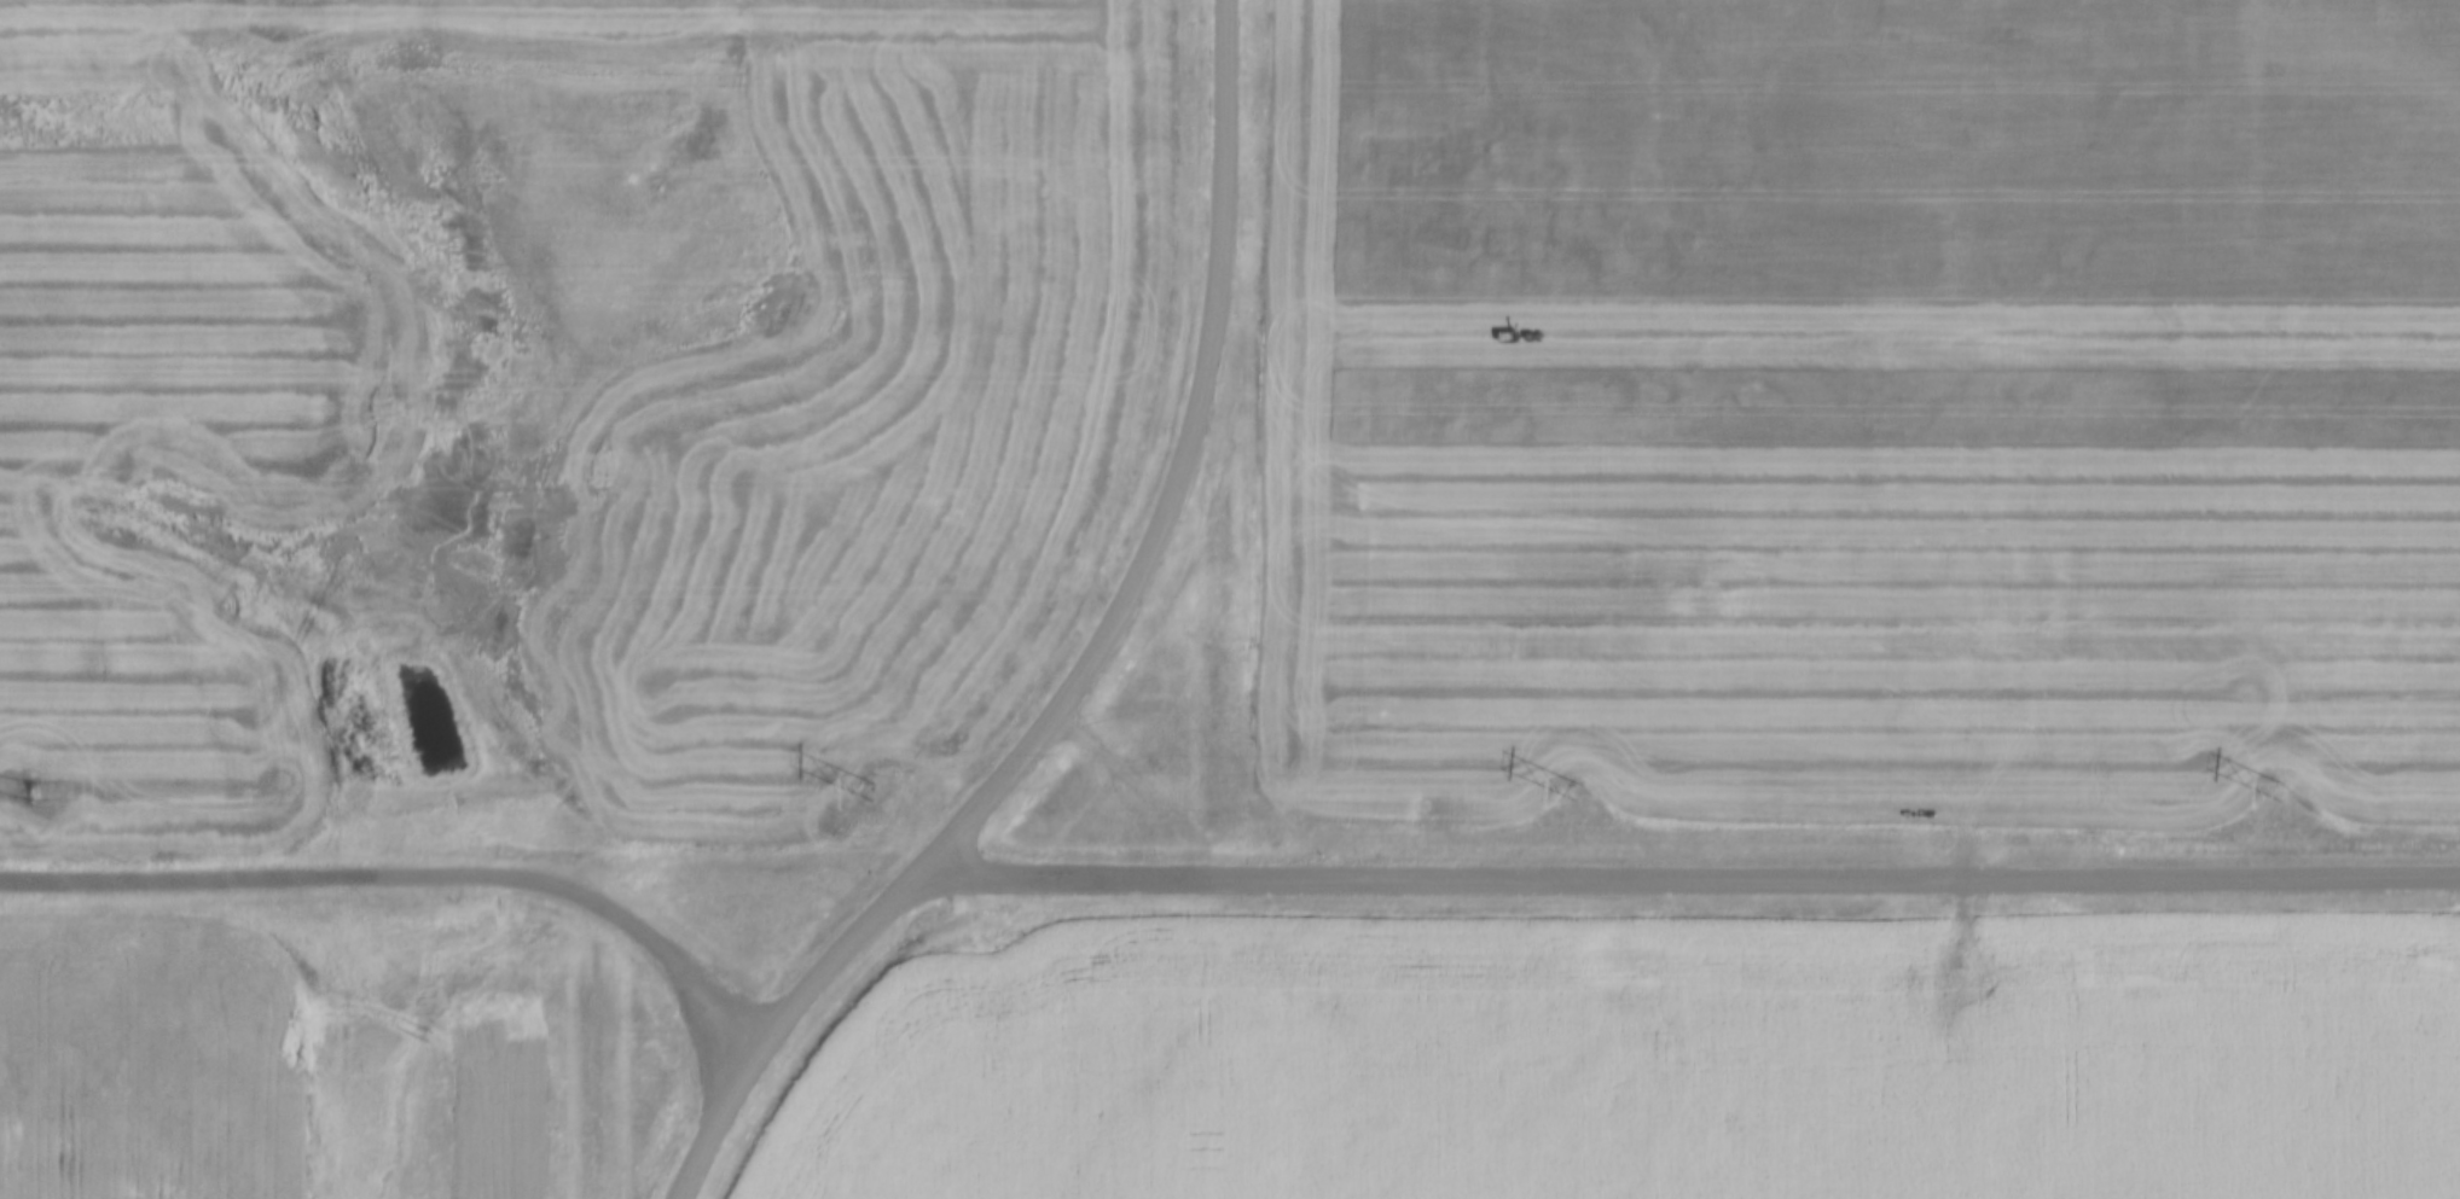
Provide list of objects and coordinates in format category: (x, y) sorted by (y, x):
road: (1202, 485)
power tower: (2267, 788)
power tower: (12, 791)
power tower: (1556, 793)
power tower: (851, 795)
road: (408, 874)
road: (1682, 877)
road: (772, 1029)

